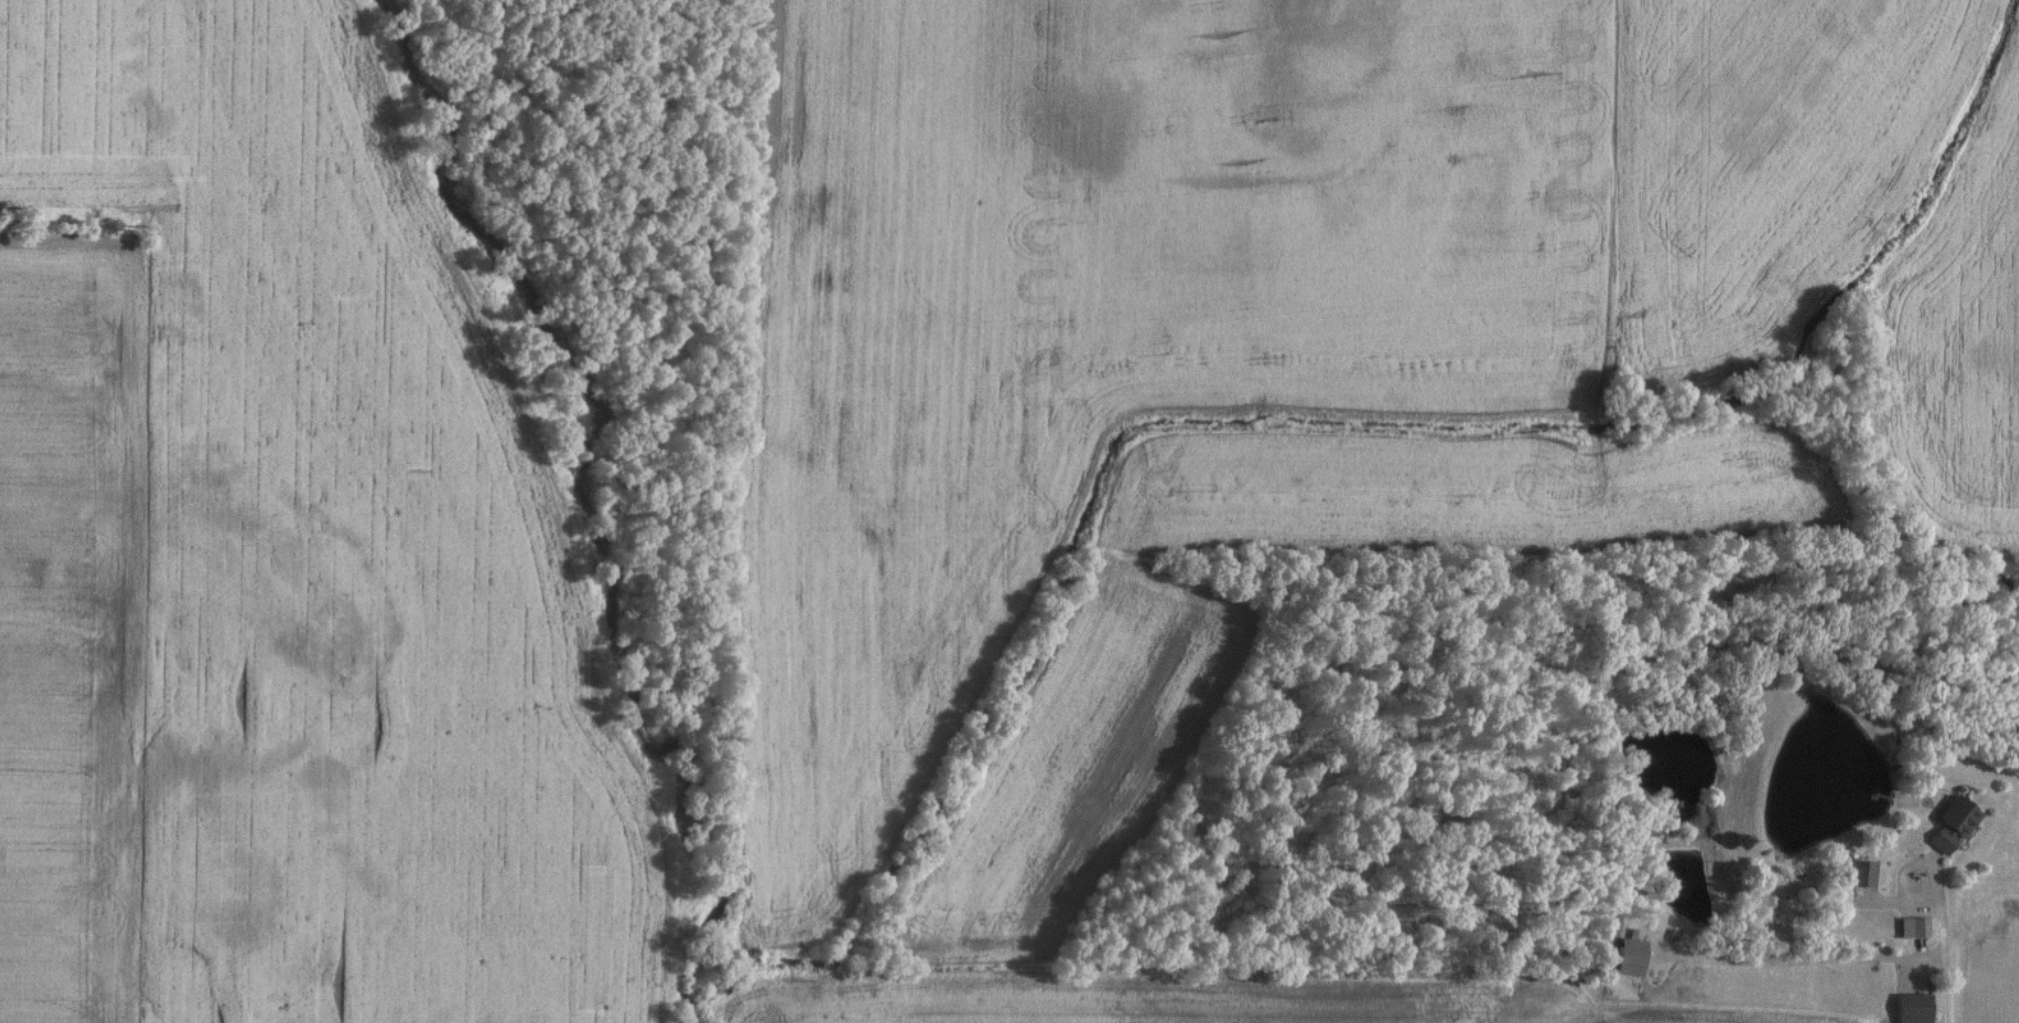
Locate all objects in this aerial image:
building: (1951, 828)
building: (1859, 877)
building: (1912, 930)
building: (1629, 957)
road: (1799, 961)
road: (1943, 976)
building: (1911, 1009)

